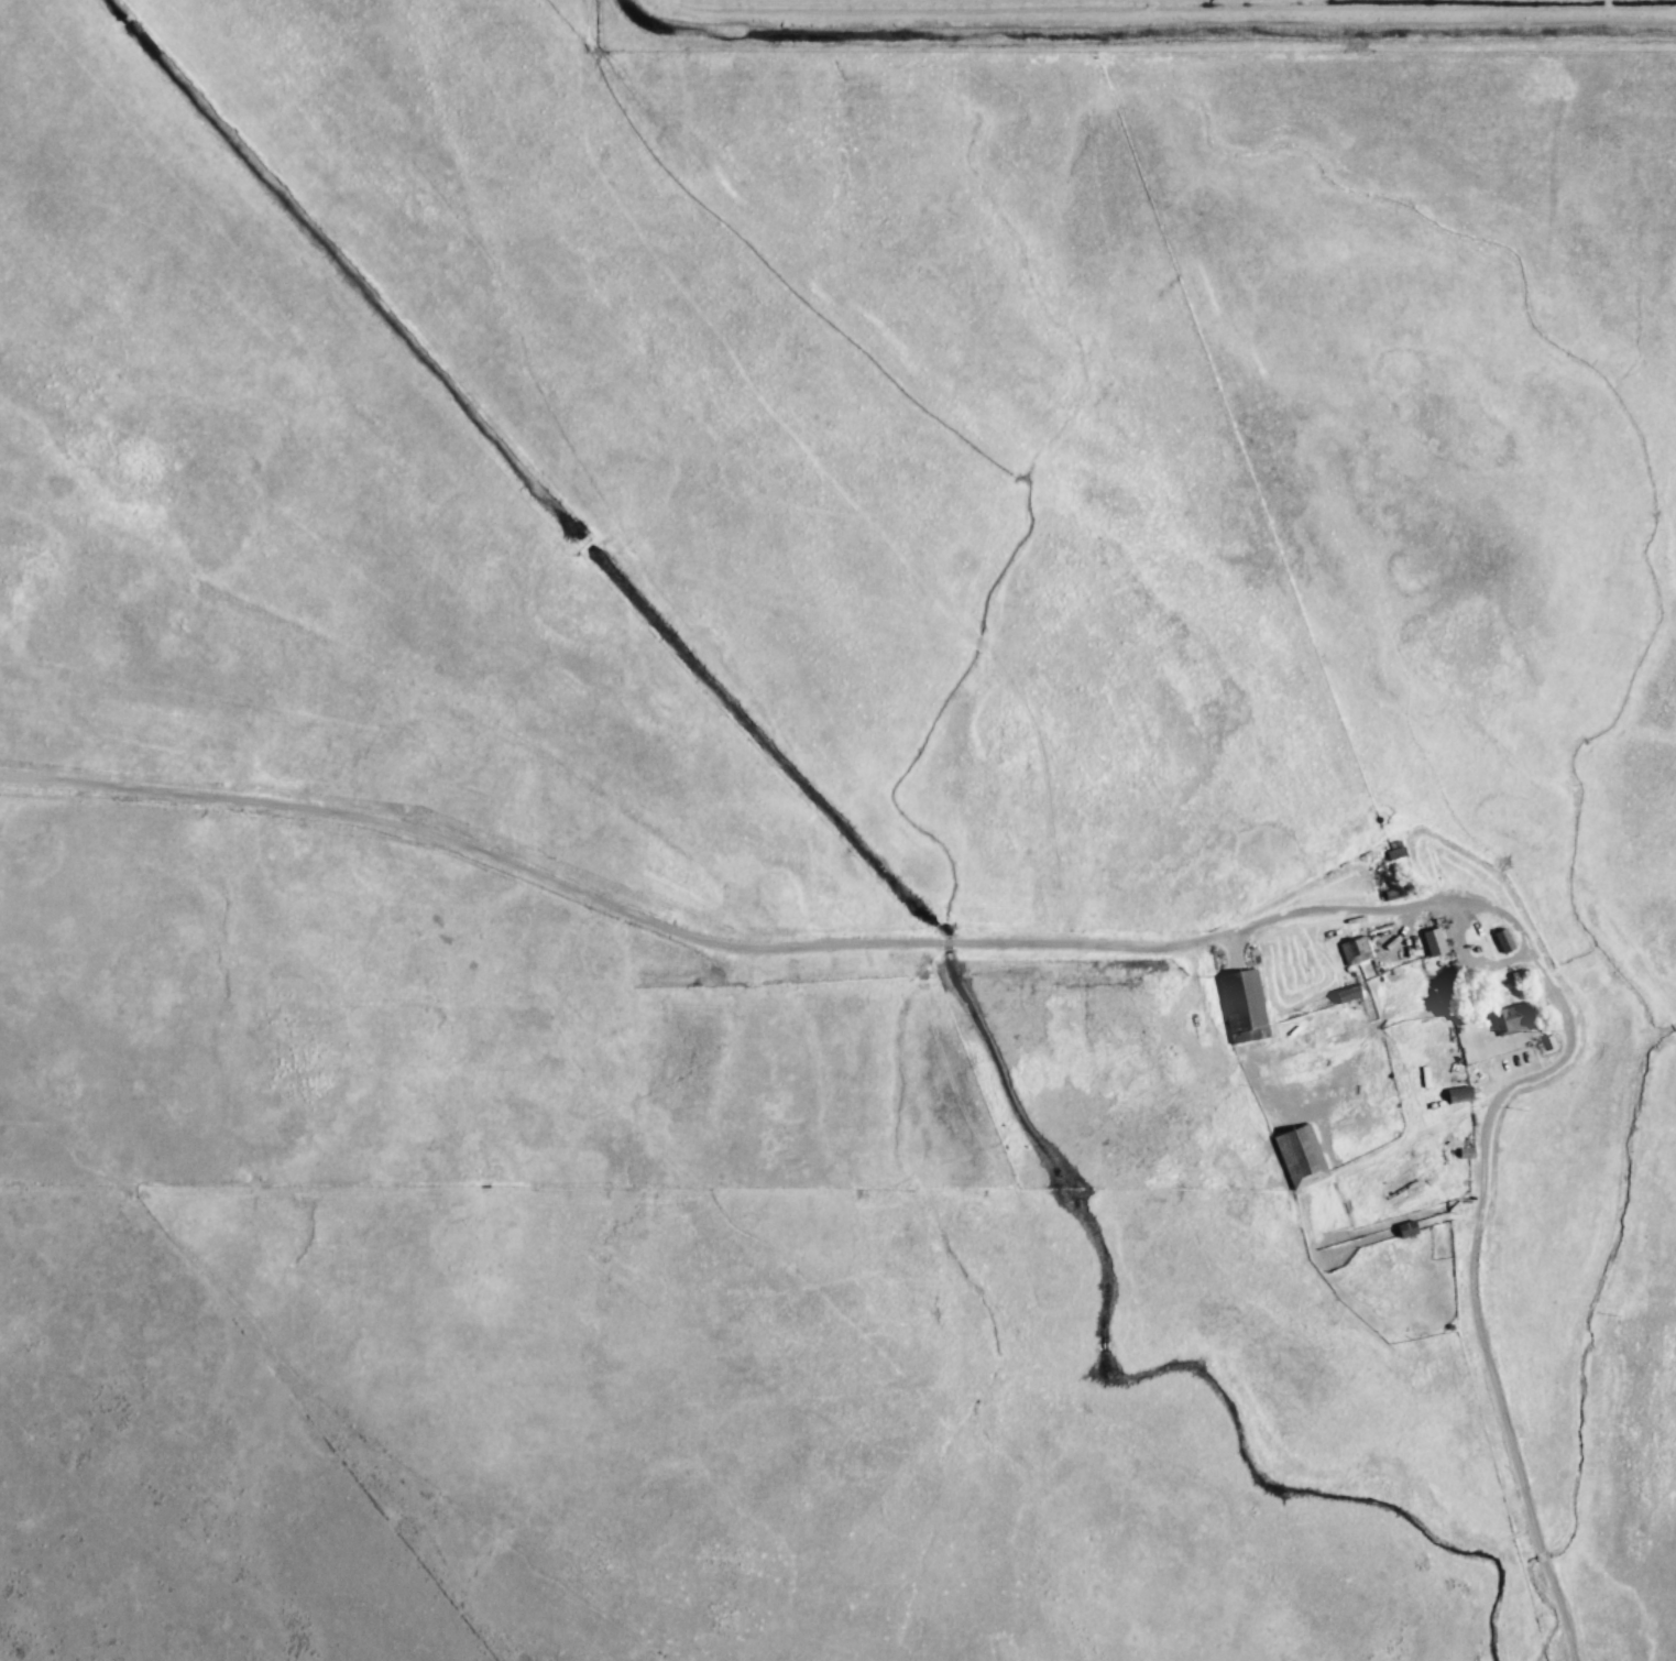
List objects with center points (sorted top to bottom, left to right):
crop: (1153, 15)
crop: (833, 840)
building: (1503, 939)
building: (1434, 941)
road: (1150, 947)
building: (1348, 993)
building: (1242, 1005)
building: (1511, 1018)
building: (1458, 1093)
building: (1301, 1155)
building: (1426, 1220)
building: (1406, 1228)

